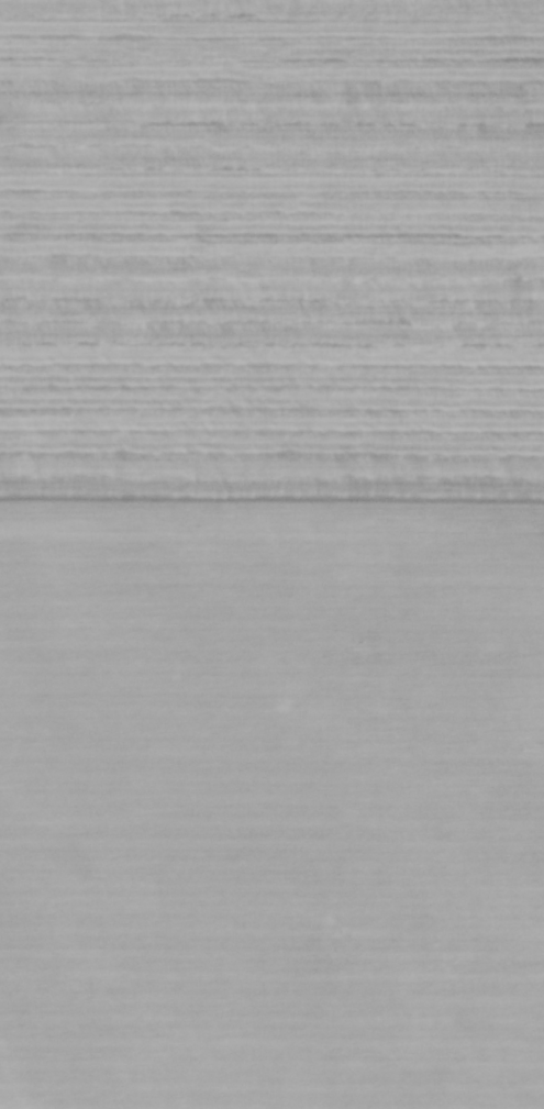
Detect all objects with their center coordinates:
crop: (271, 554)

